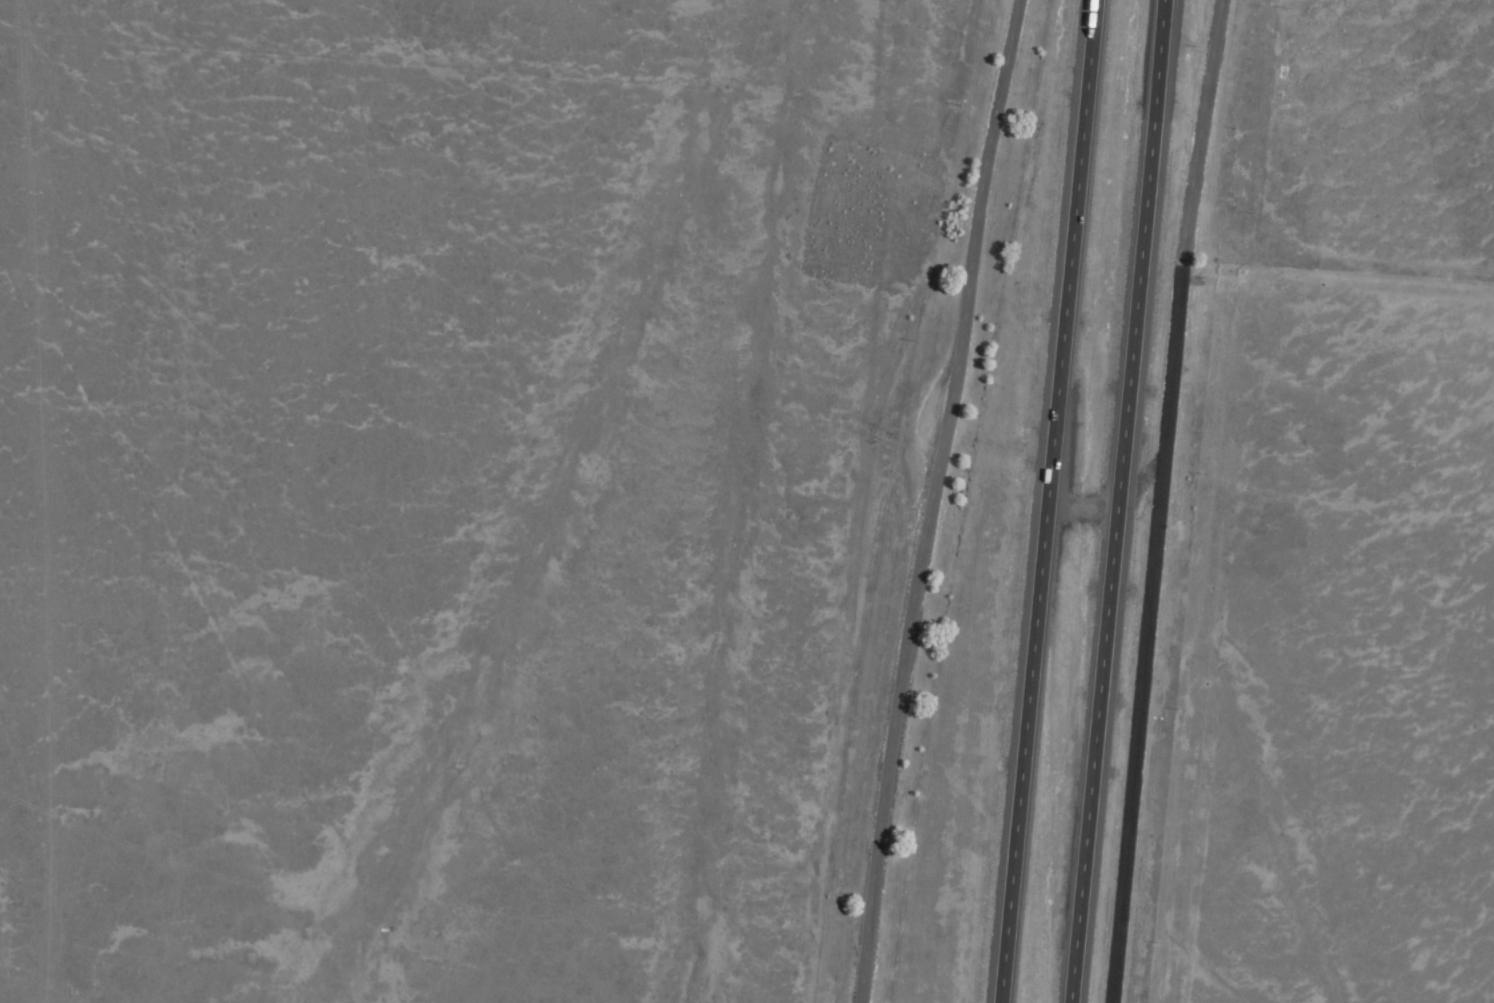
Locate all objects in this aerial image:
road: (1336, 301)
road: (927, 499)
road: (1156, 500)
road: (1044, 501)
road: (1114, 501)

